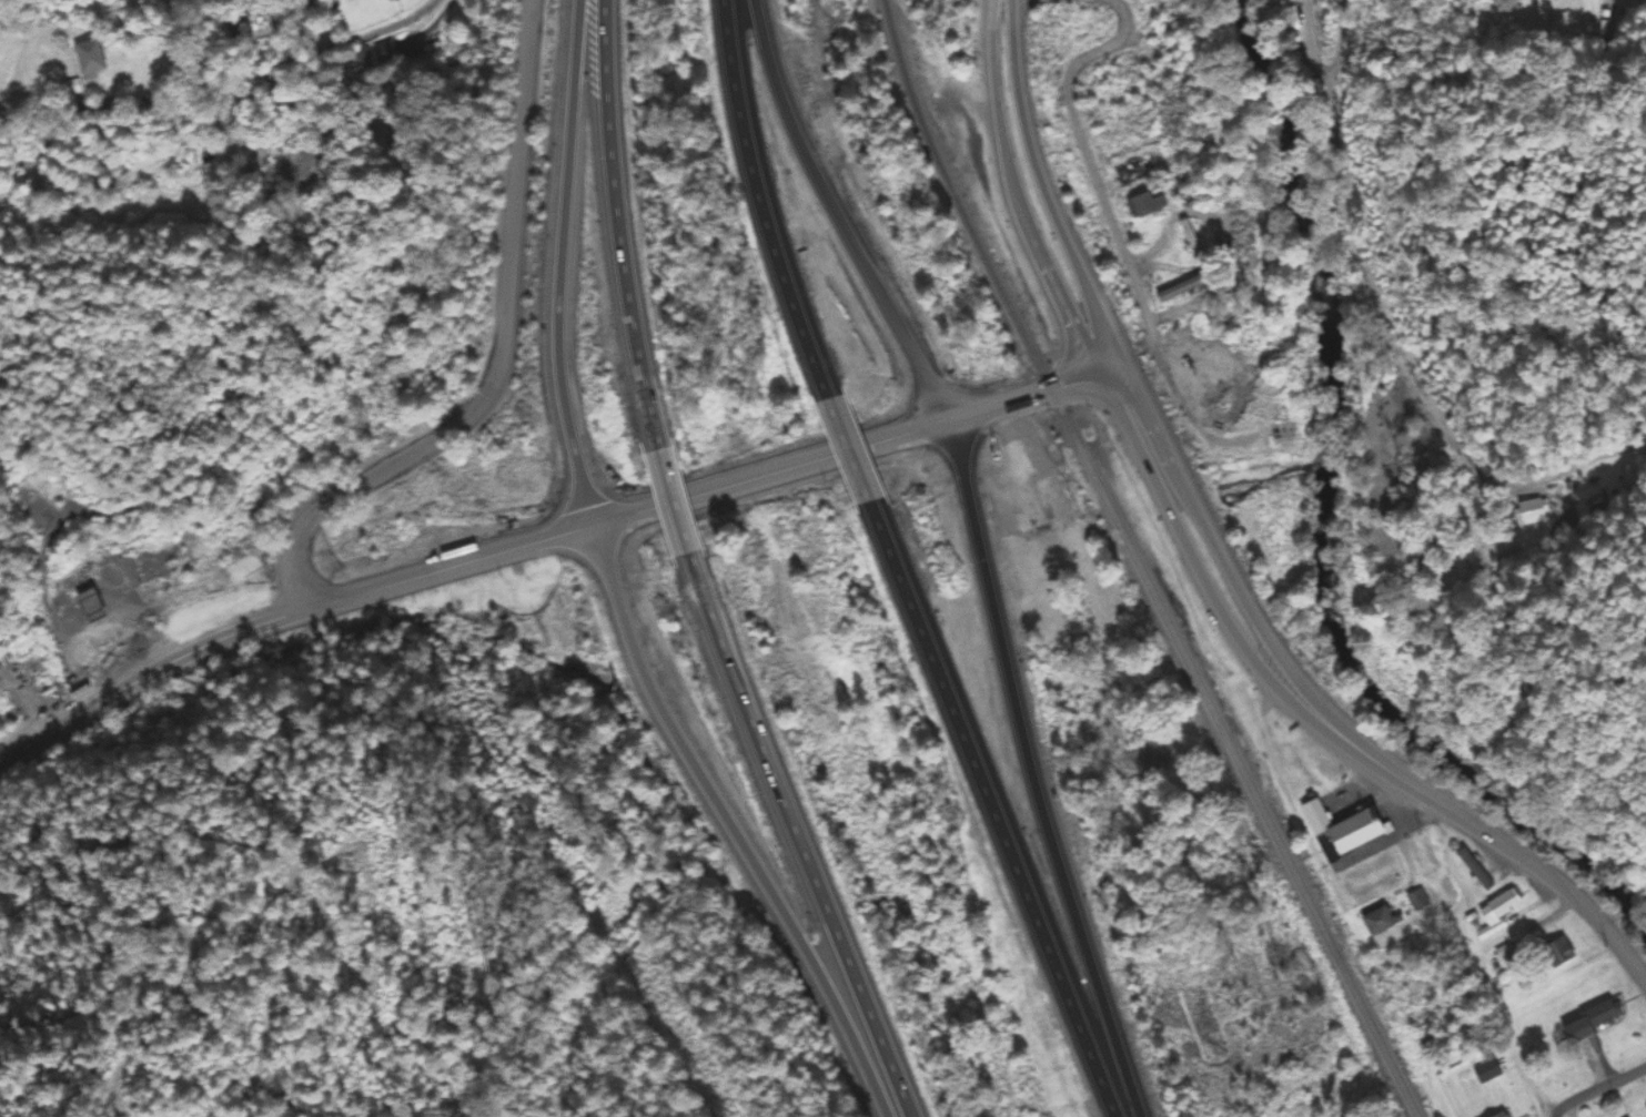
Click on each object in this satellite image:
building: (1280, 0)
road: (1335, 43)
building: (372, 54)
building: (87, 58)
road: (228, 85)
building: (1131, 171)
road: (1046, 191)
road: (1017, 195)
road: (760, 200)
building: (1144, 205)
road: (840, 215)
road: (1360, 220)
road: (619, 222)
road: (1115, 231)
building: (1189, 238)
road: (556, 263)
building: (1179, 290)
road: (501, 355)
road: (860, 447)
road: (848, 448)
building: (50, 491)
road: (669, 497)
building: (1531, 512)
river: (1332, 527)
railway: (1139, 563)
building: (80, 589)
road: (1254, 612)
road: (284, 618)
road: (1231, 628)
road: (1034, 772)
road: (994, 810)
road: (730, 824)
building: (1343, 830)
road: (795, 834)
building: (1474, 870)
road: (1556, 882)
building: (1420, 901)
building: (1496, 914)
building: (1377, 922)
building: (1557, 952)
building: (1599, 1015)
building: (1487, 1069)
road: (1599, 1091)
building: (1501, 1115)
road: (1554, 1115)

